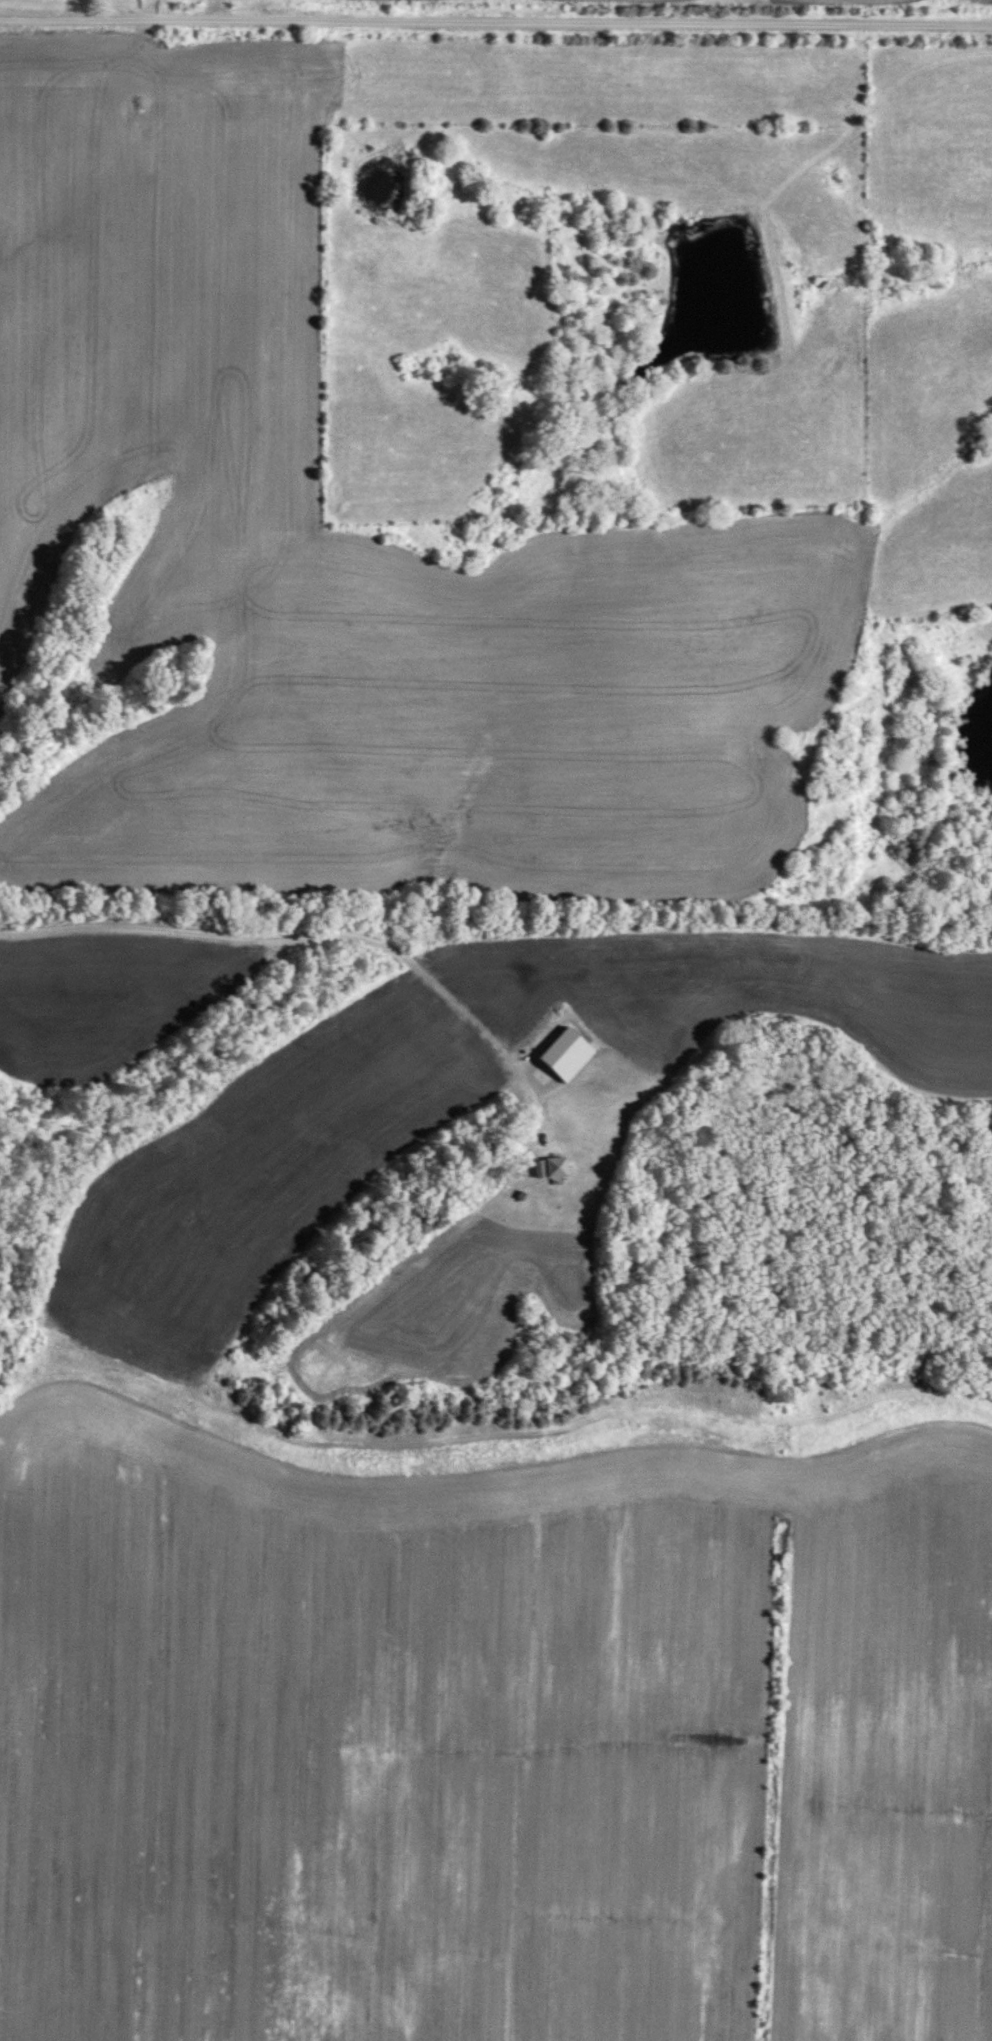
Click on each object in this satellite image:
road: (496, 15)
building: (554, 1166)

